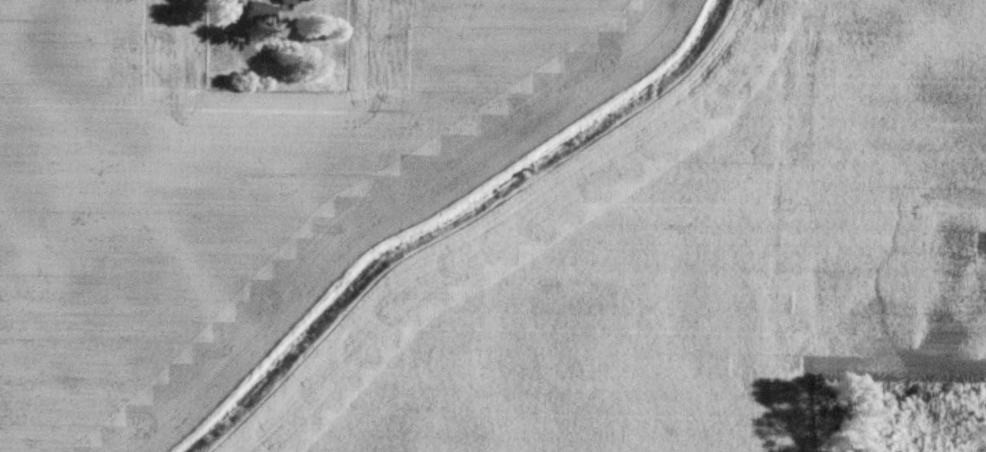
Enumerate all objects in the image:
building: (294, 2)
building: (260, 14)

